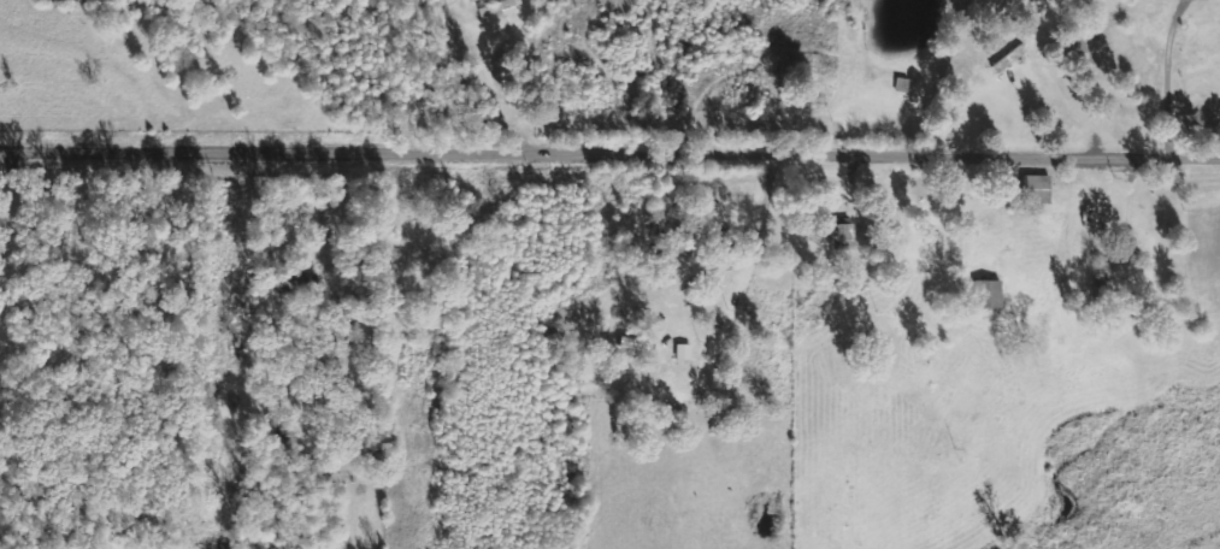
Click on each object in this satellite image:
building: (499, 6)
building: (1080, 48)
road: (609, 155)
building: (1031, 191)
building: (841, 236)
building: (983, 293)

